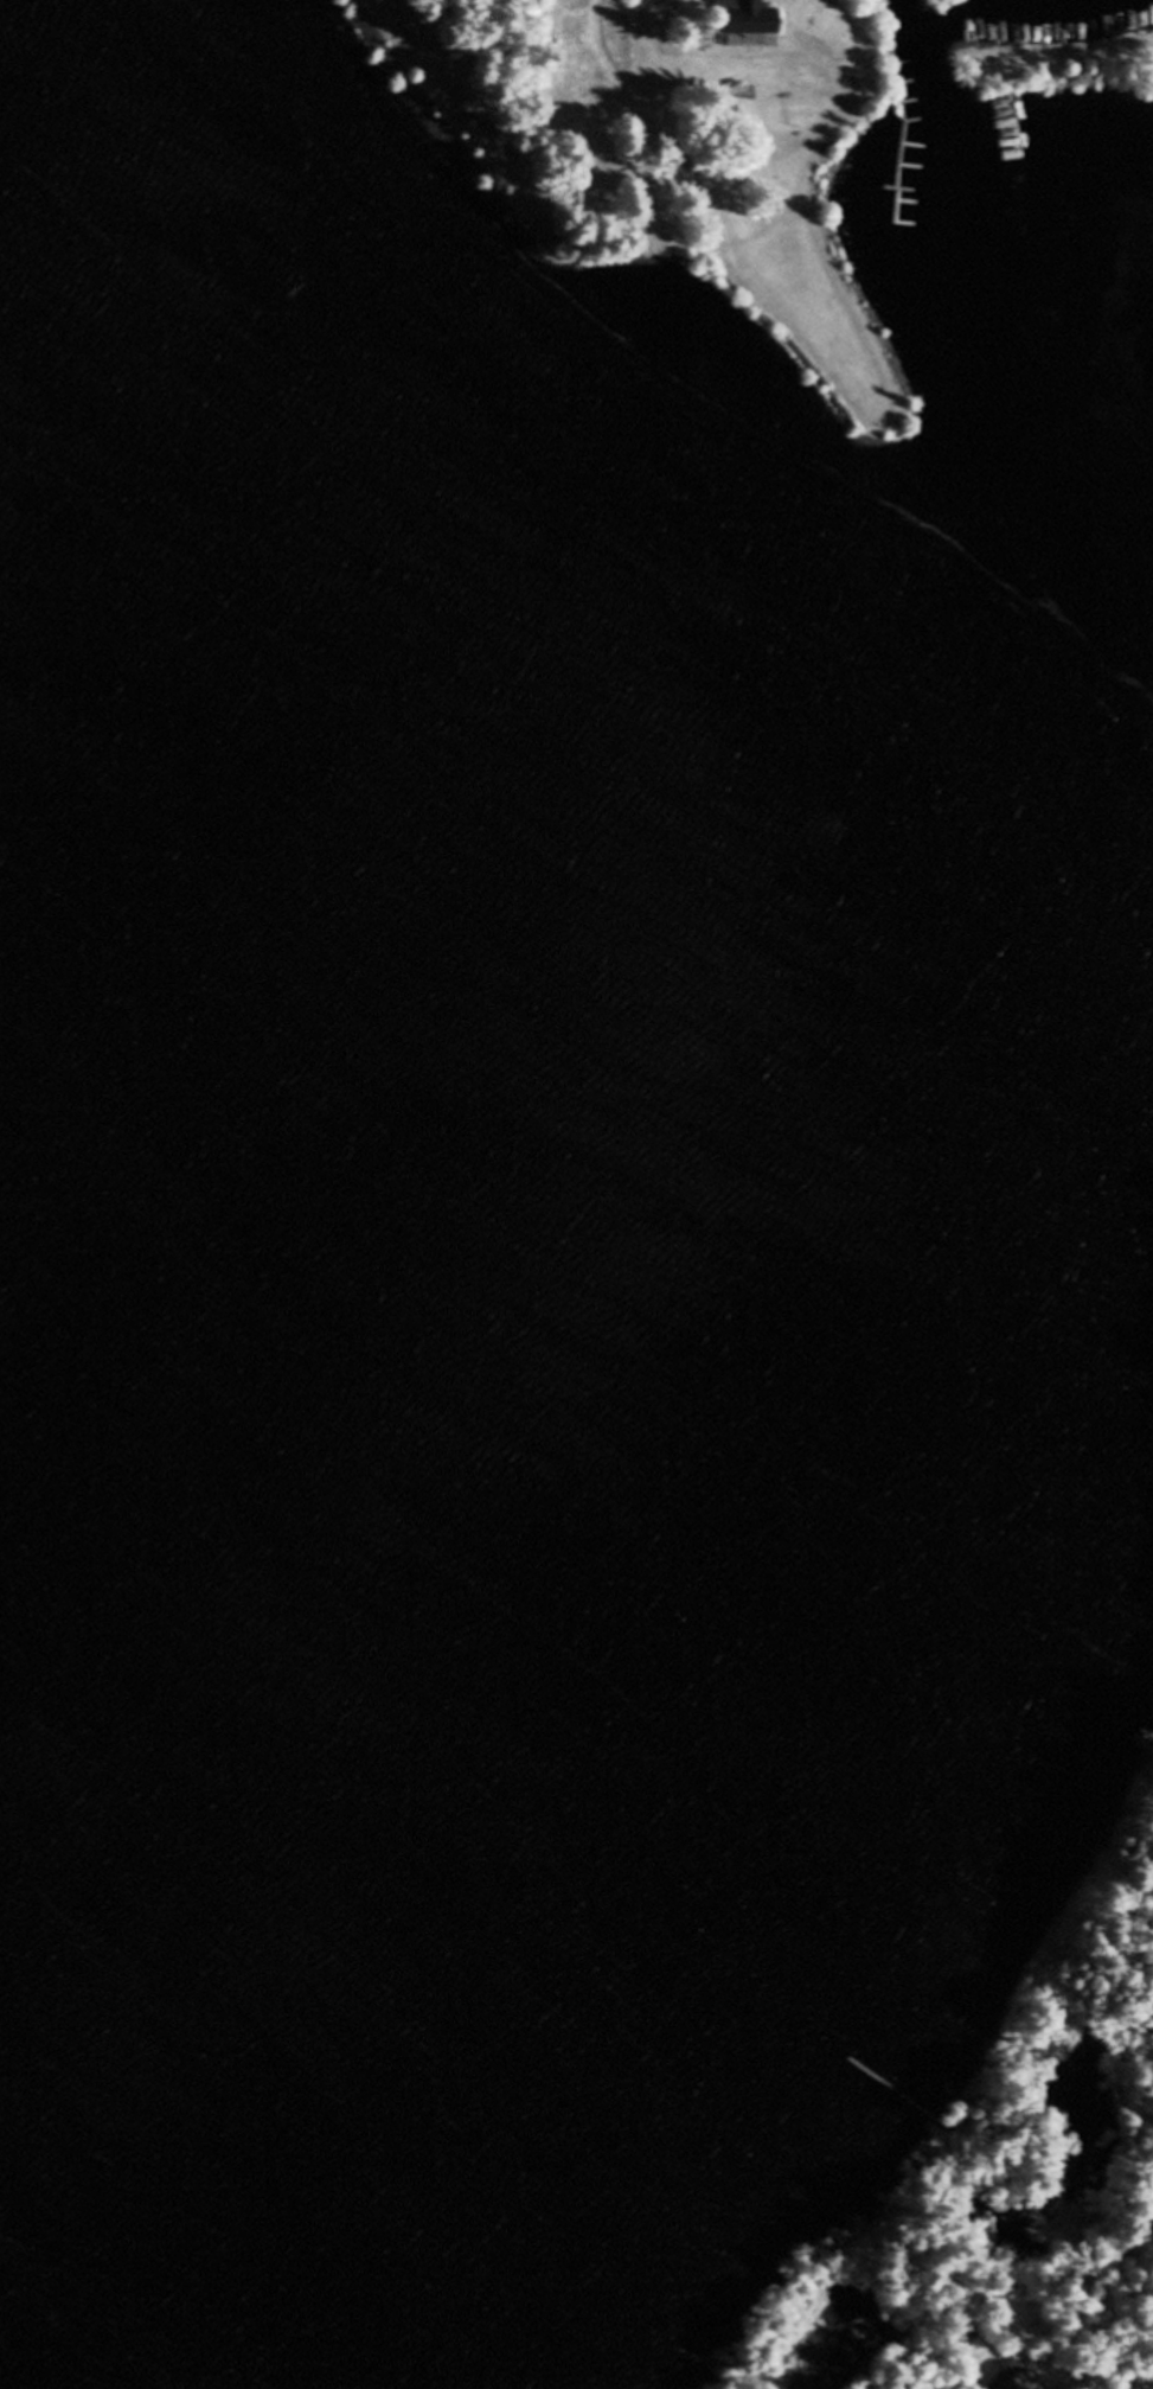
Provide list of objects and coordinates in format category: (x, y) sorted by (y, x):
building: (745, 25)
building: (1019, 2383)

